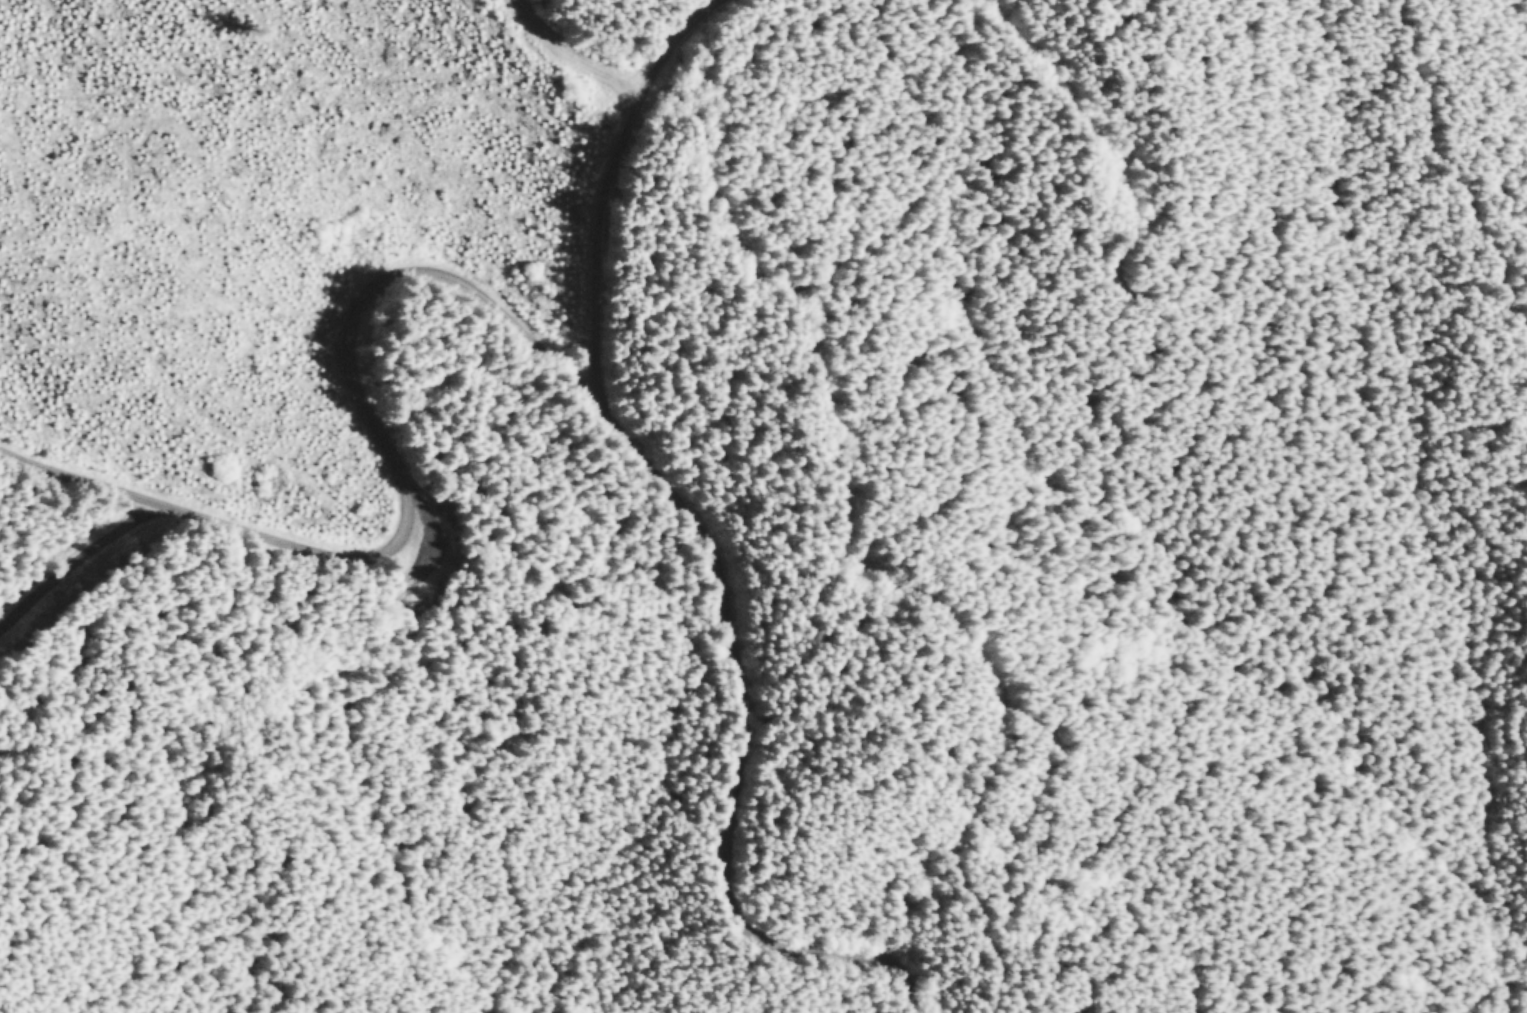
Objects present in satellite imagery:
road: (577, 51)
road: (1112, 142)
road: (1449, 163)
road: (622, 169)
road: (531, 330)
road: (1498, 425)
road: (78, 567)

